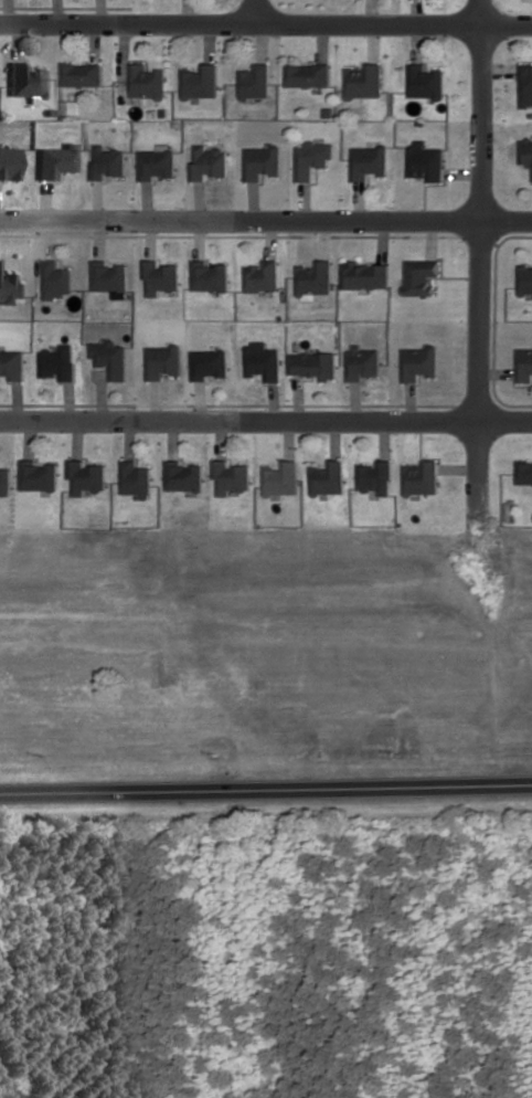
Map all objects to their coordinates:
road: (257, 9)
road: (266, 19)
building: (84, 74)
building: (307, 74)
building: (256, 81)
building: (361, 81)
building: (25, 82)
building: (203, 82)
building: (422, 82)
building: (150, 83)
building: (524, 85)
building: (70, 106)
building: (525, 151)
building: (312, 158)
building: (56, 160)
building: (107, 161)
building: (211, 161)
building: (264, 161)
building: (366, 161)
building: (424, 161)
building: (159, 162)
building: (10, 163)
road: (266, 222)
road: (479, 264)
building: (366, 275)
building: (421, 275)
building: (211, 276)
building: (265, 276)
building: (109, 277)
building: (161, 277)
building: (54, 279)
building: (317, 279)
building: (524, 279)
building: (9, 286)
building: (110, 358)
building: (162, 360)
building: (265, 361)
building: (365, 361)
building: (56, 362)
building: (422, 362)
building: (210, 363)
building: (11, 365)
building: (316, 365)
building: (524, 365)
road: (265, 415)
road: (460, 464)
building: (524, 473)
building: (36, 475)
building: (181, 476)
building: (85, 477)
building: (230, 477)
building: (327, 477)
building: (376, 477)
building: (423, 477)
building: (134, 478)
building: (280, 478)
building: (4, 482)
road: (266, 788)
road: (4, 1089)

